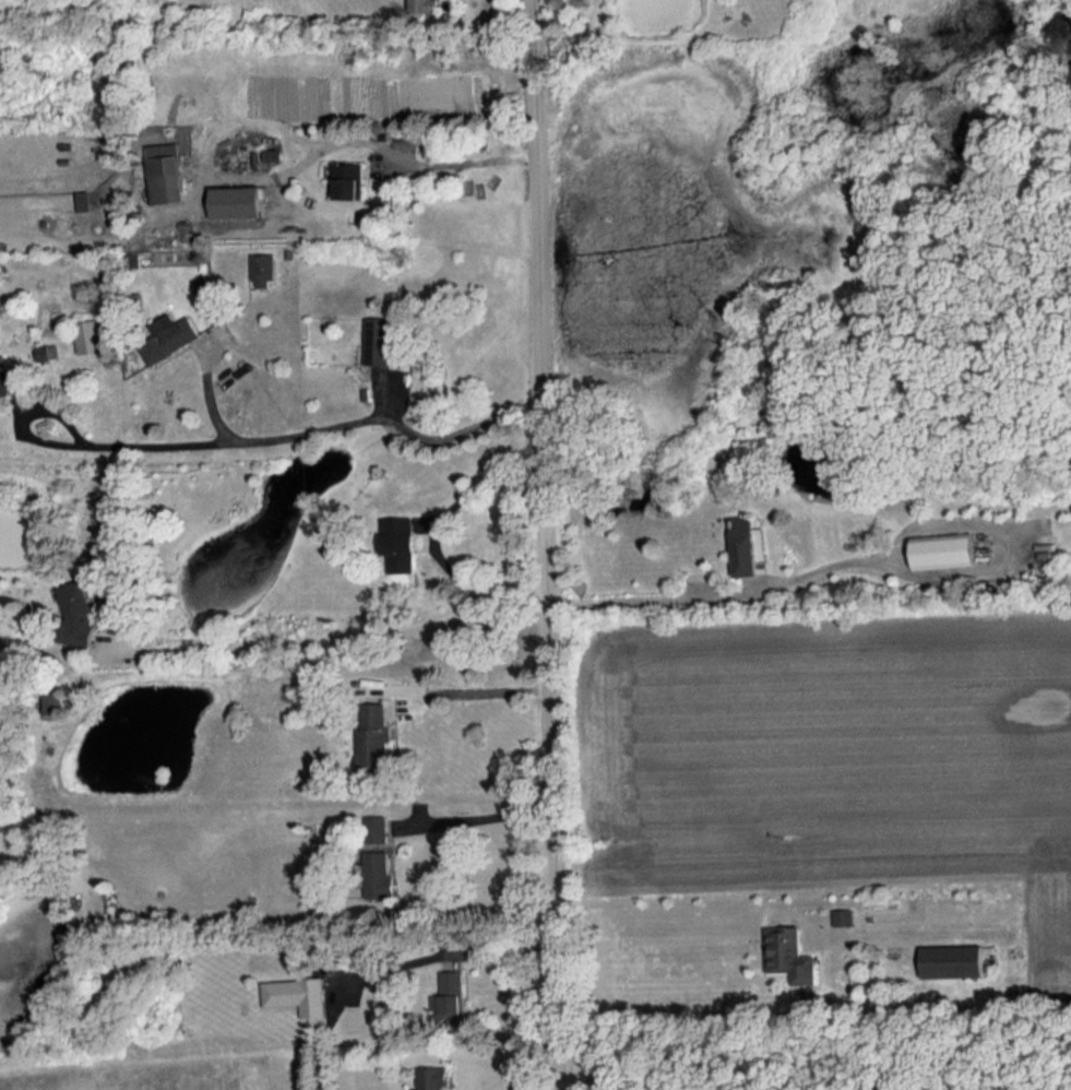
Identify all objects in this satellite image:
building: (424, 5)
road: (404, 155)
building: (168, 173)
building: (349, 180)
building: (239, 201)
power tower: (389, 253)
building: (264, 269)
building: (92, 336)
building: (170, 336)
building: (378, 340)
building: (48, 351)
building: (11, 380)
road: (322, 429)
road: (444, 508)
building: (401, 543)
road: (551, 545)
building: (750, 545)
building: (945, 549)
road: (631, 599)
building: (75, 614)
road: (341, 636)
road: (467, 686)
building: (53, 700)
building: (374, 737)
road: (486, 815)
building: (378, 828)
building: (381, 875)
building: (844, 916)
road: (471, 953)
building: (789, 953)
building: (953, 960)
building: (298, 994)
building: (450, 997)
road: (701, 1017)
park: (837, 1055)
road: (605, 1061)
building: (433, 1077)

